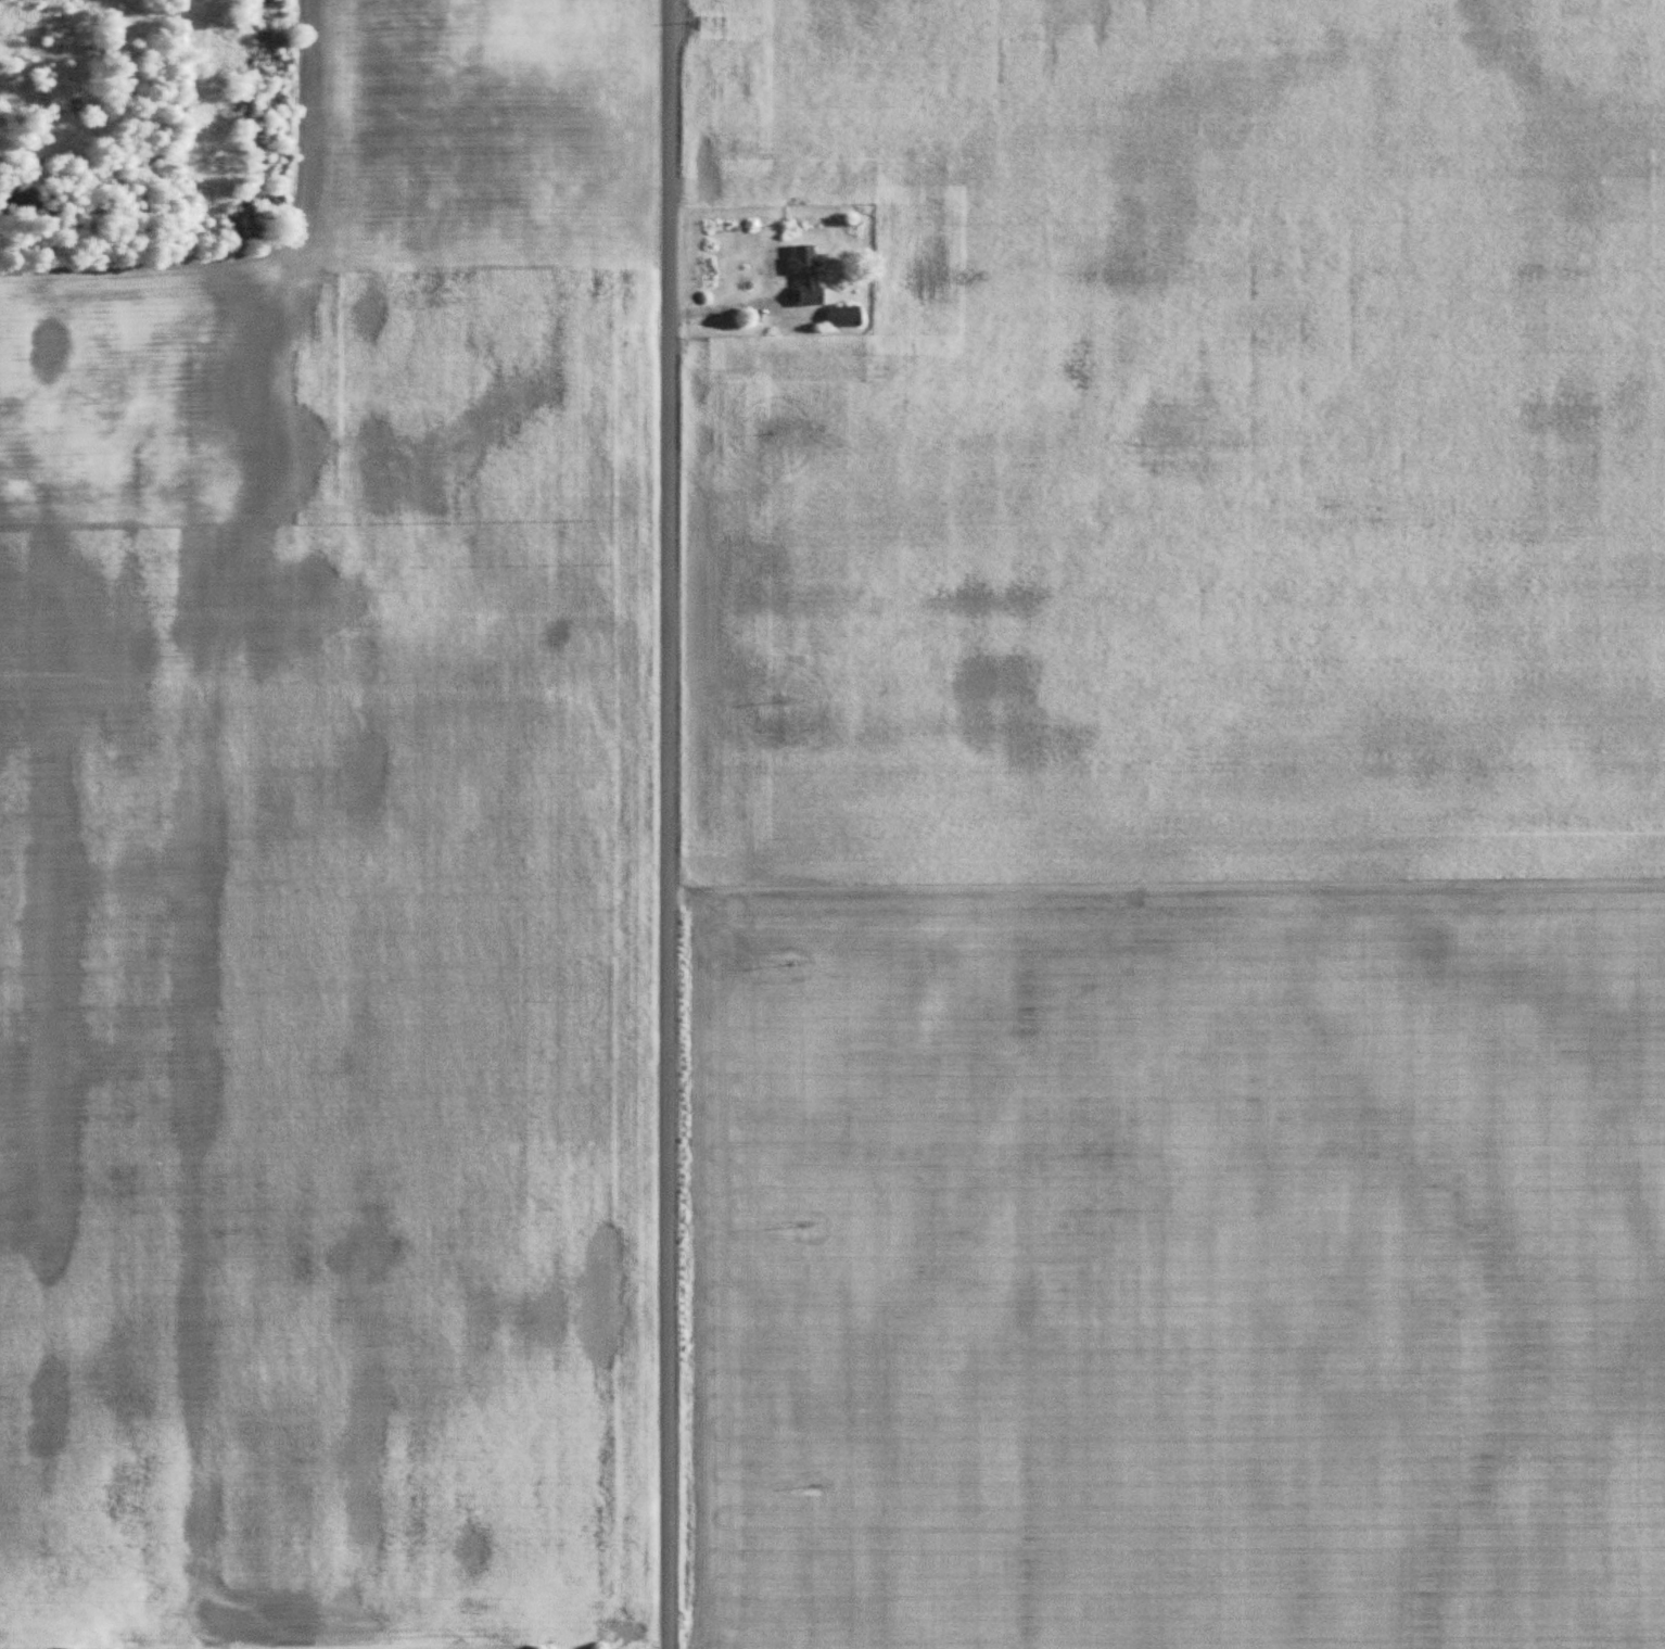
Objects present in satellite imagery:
building: (808, 272)
road: (729, 304)
road: (669, 824)

